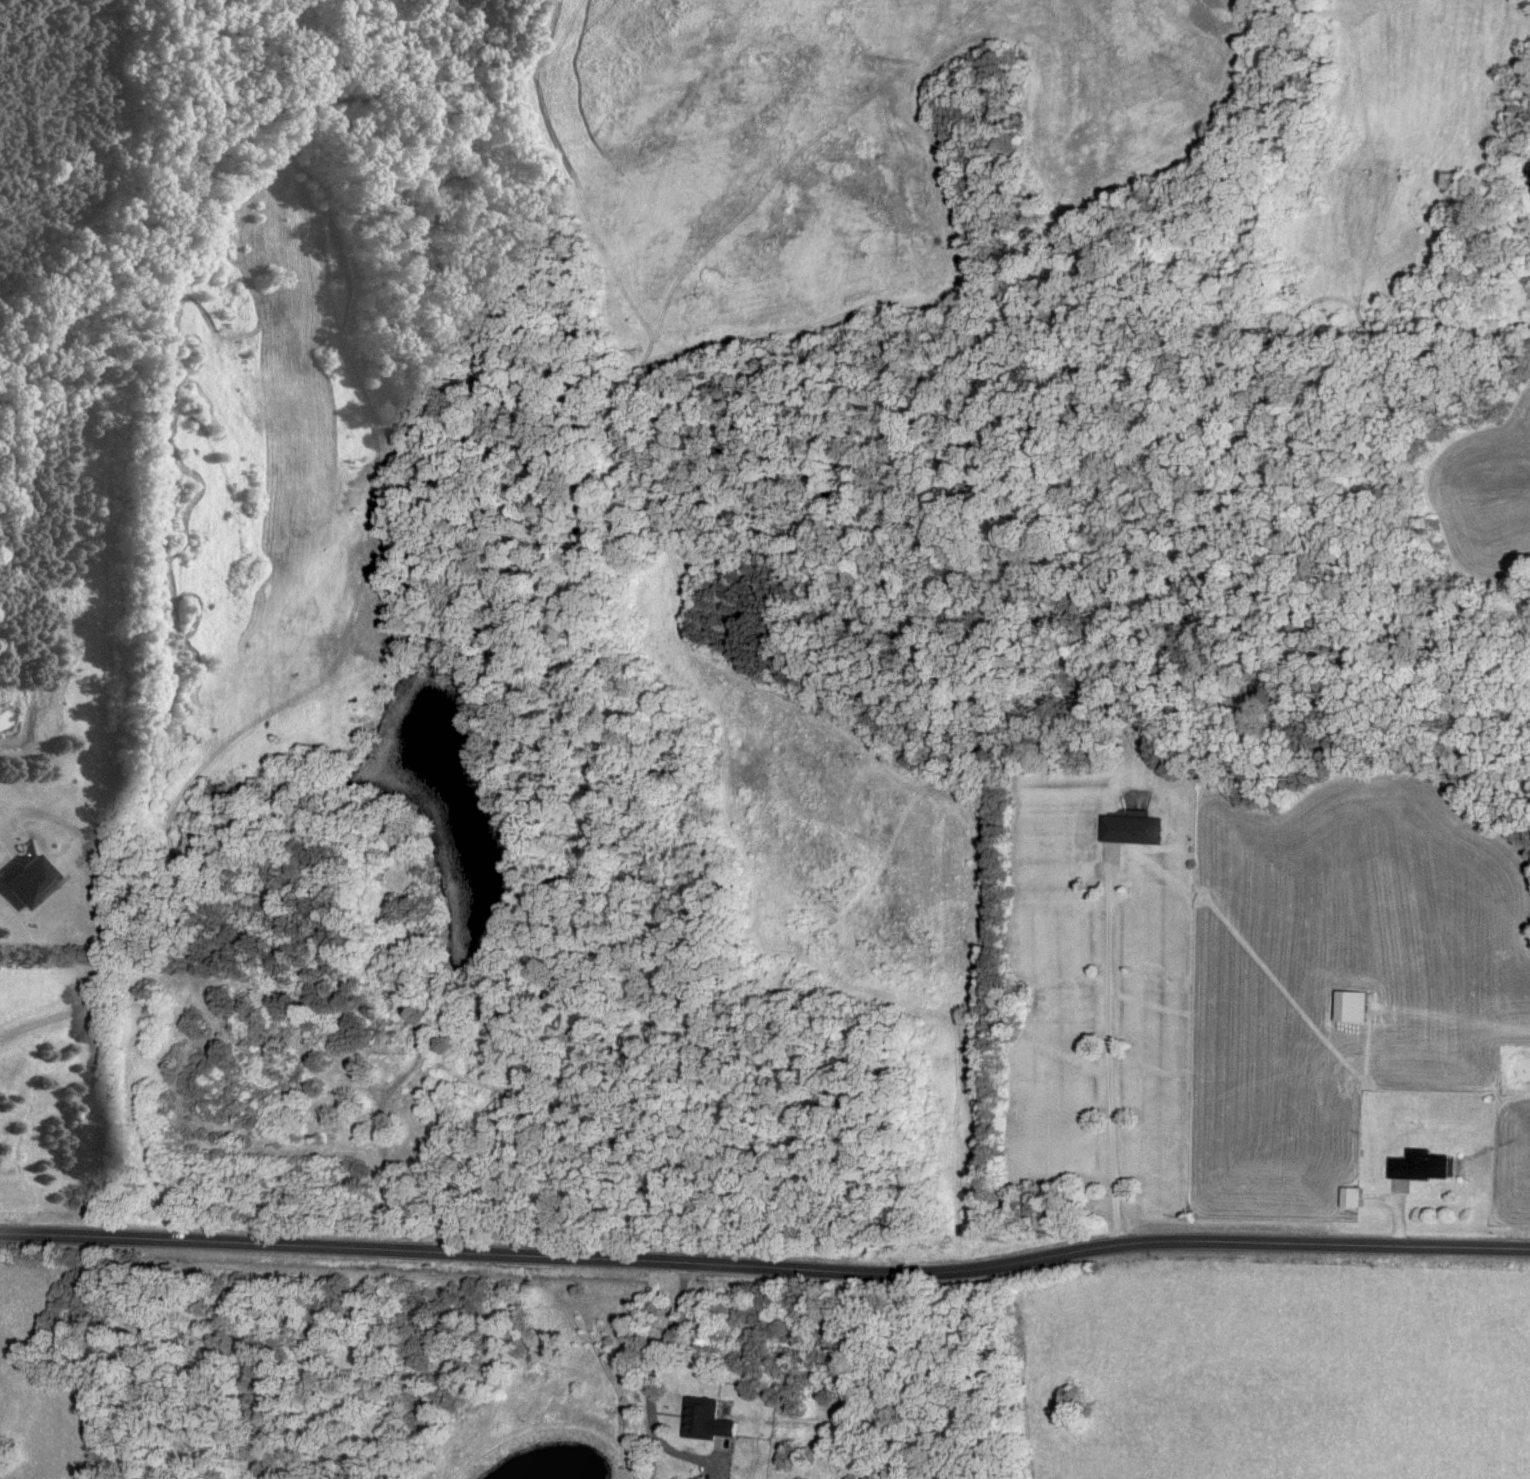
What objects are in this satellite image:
building: (1132, 830)
road: (100, 915)
building: (1350, 1006)
building: (384, 1045)
road: (1107, 1045)
road: (385, 1151)
building: (1420, 1166)
building: (1351, 1198)
road: (766, 1270)
road: (659, 1371)
building: (707, 1421)

